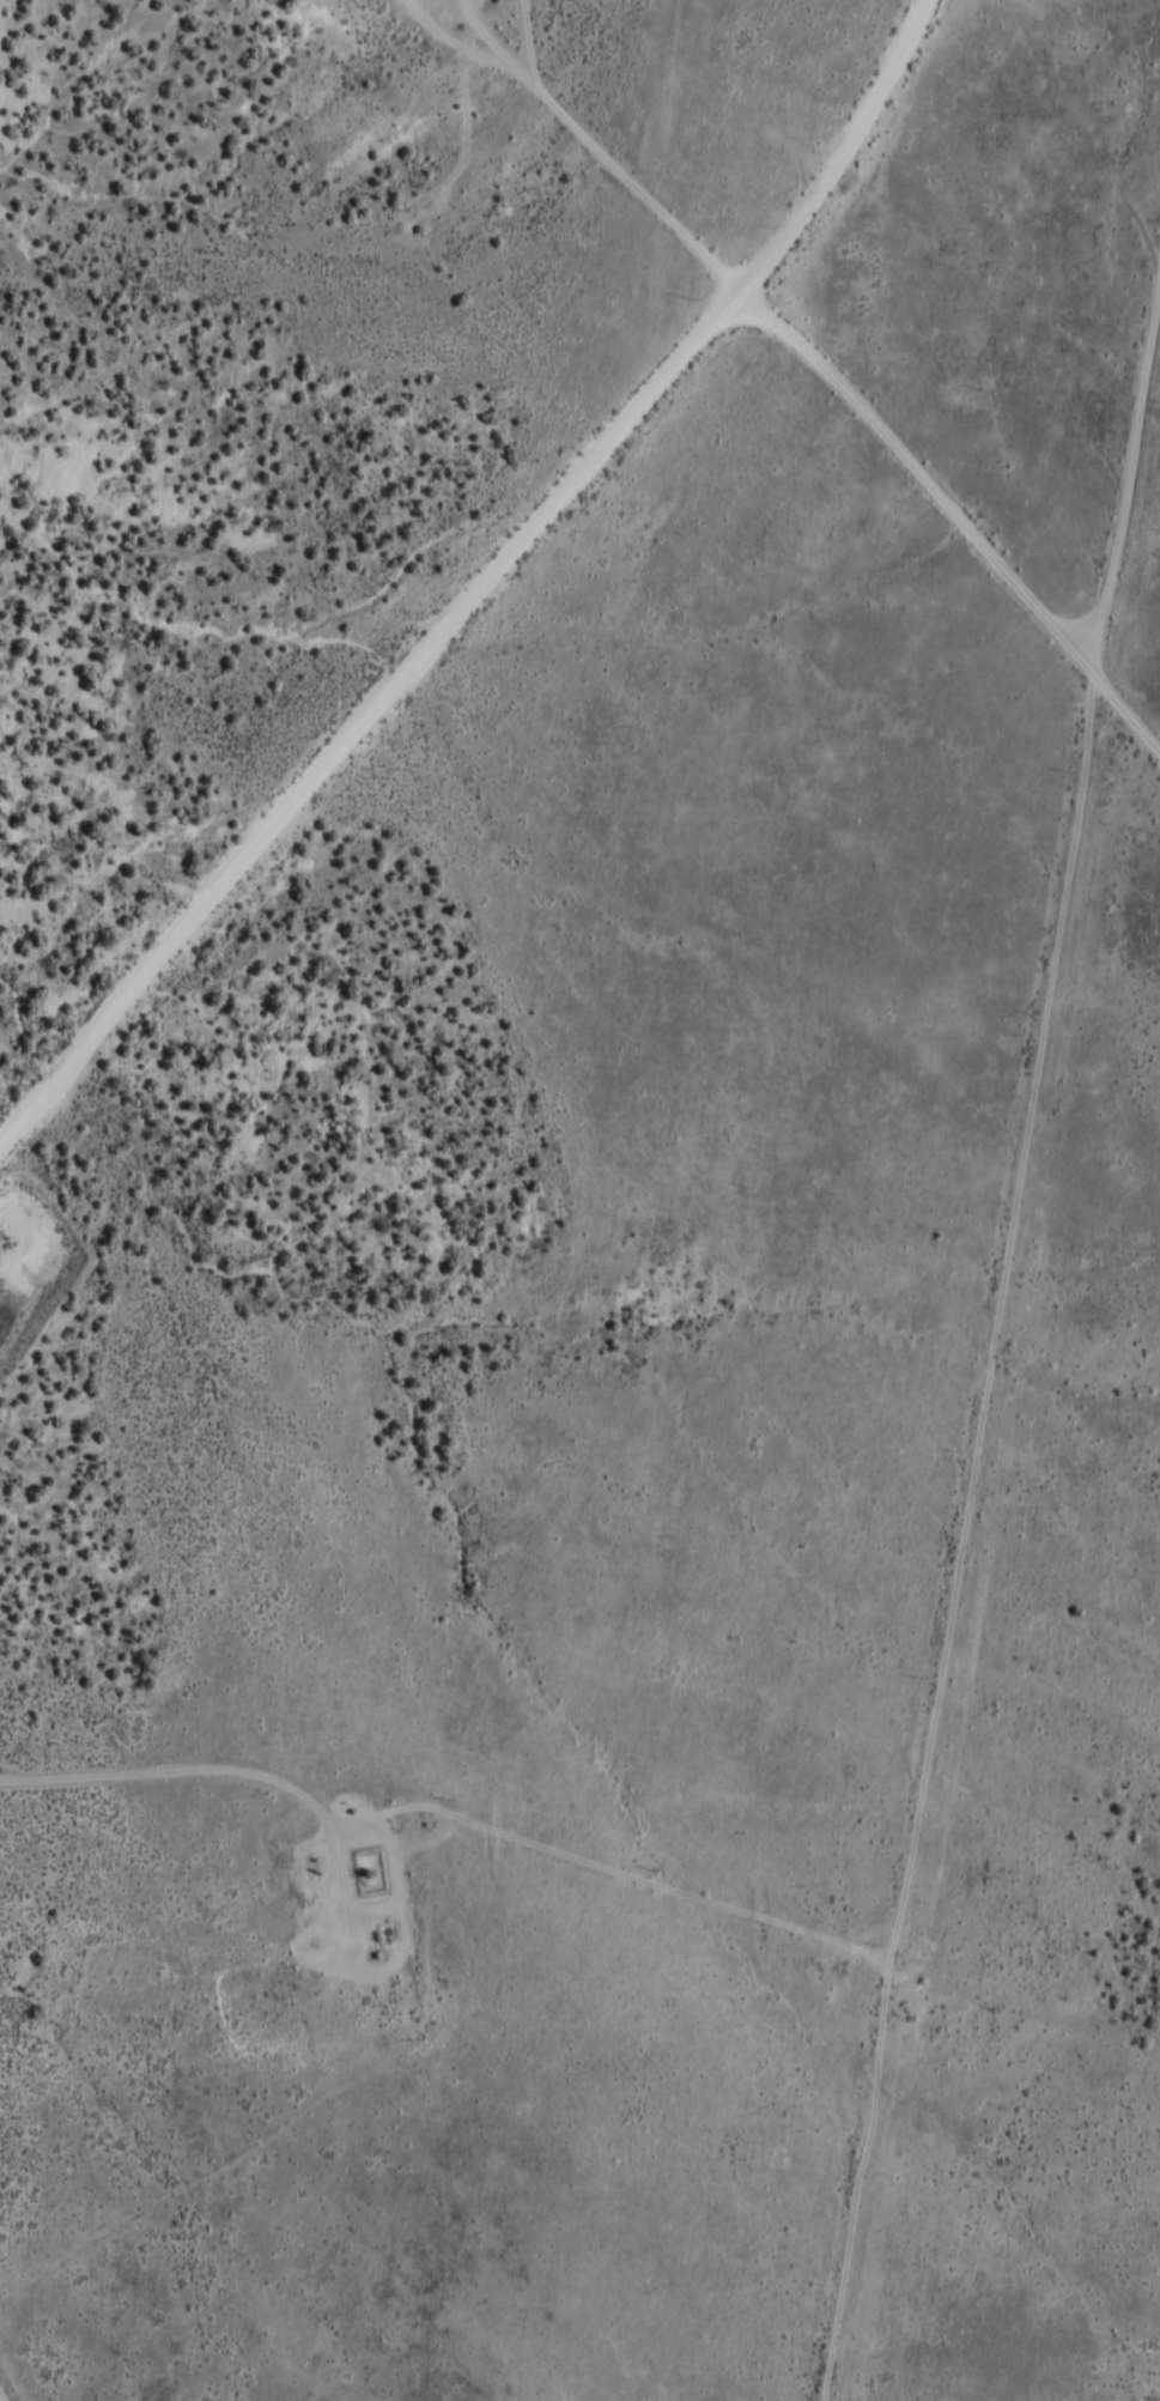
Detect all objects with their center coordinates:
road: (826, 376)
road: (478, 584)
road: (965, 1266)
road: (188, 1776)

